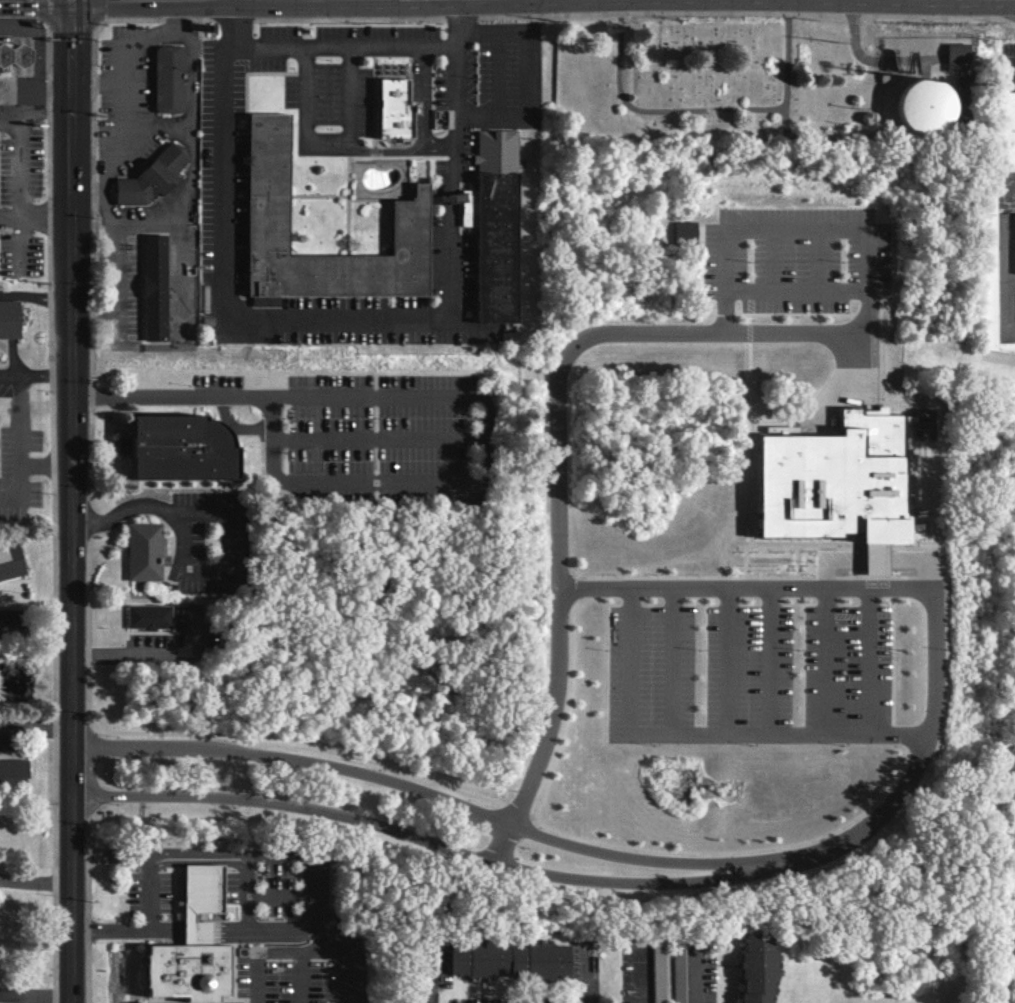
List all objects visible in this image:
road: (173, 16)
road: (362, 44)
road: (192, 54)
building: (18, 57)
building: (955, 57)
road: (1002, 63)
park: (703, 73)
road: (529, 75)
road: (97, 82)
building: (172, 83)
road: (35, 88)
road: (421, 96)
road: (346, 97)
building: (923, 105)
water tower: (923, 107)
road: (706, 110)
road: (34, 112)
building: (400, 114)
road: (455, 115)
road: (159, 126)
building: (1007, 131)
road: (96, 132)
road: (317, 144)
road: (439, 147)
road: (19, 167)
road: (987, 173)
building: (155, 181)
road: (87, 193)
road: (454, 204)
road: (34, 217)
road: (145, 225)
building: (275, 230)
building: (685, 232)
building: (495, 233)
building: (2, 242)
road: (18, 242)
road: (92, 257)
road: (1005, 258)
road: (223, 269)
road: (453, 269)
building: (988, 270)
building: (159, 292)
road: (35, 298)
building: (9, 319)
road: (623, 329)
road: (35, 375)
road: (464, 395)
road: (377, 438)
road: (19, 444)
building: (179, 448)
road: (44, 464)
building: (837, 484)
road: (70, 501)
road: (223, 524)
building: (143, 551)
building: (10, 560)
road: (910, 580)
building: (147, 616)
road: (36, 630)
road: (151, 654)
road: (36, 729)
road: (703, 735)
building: (12, 774)
road: (84, 776)
road: (236, 854)
road: (786, 857)
road: (35, 879)
road: (146, 929)
building: (192, 945)
road: (298, 949)
building: (508, 960)
building: (756, 968)
building: (657, 971)
road: (640, 972)
road: (694, 974)
road: (587, 976)
road: (428, 977)
road: (35, 994)

